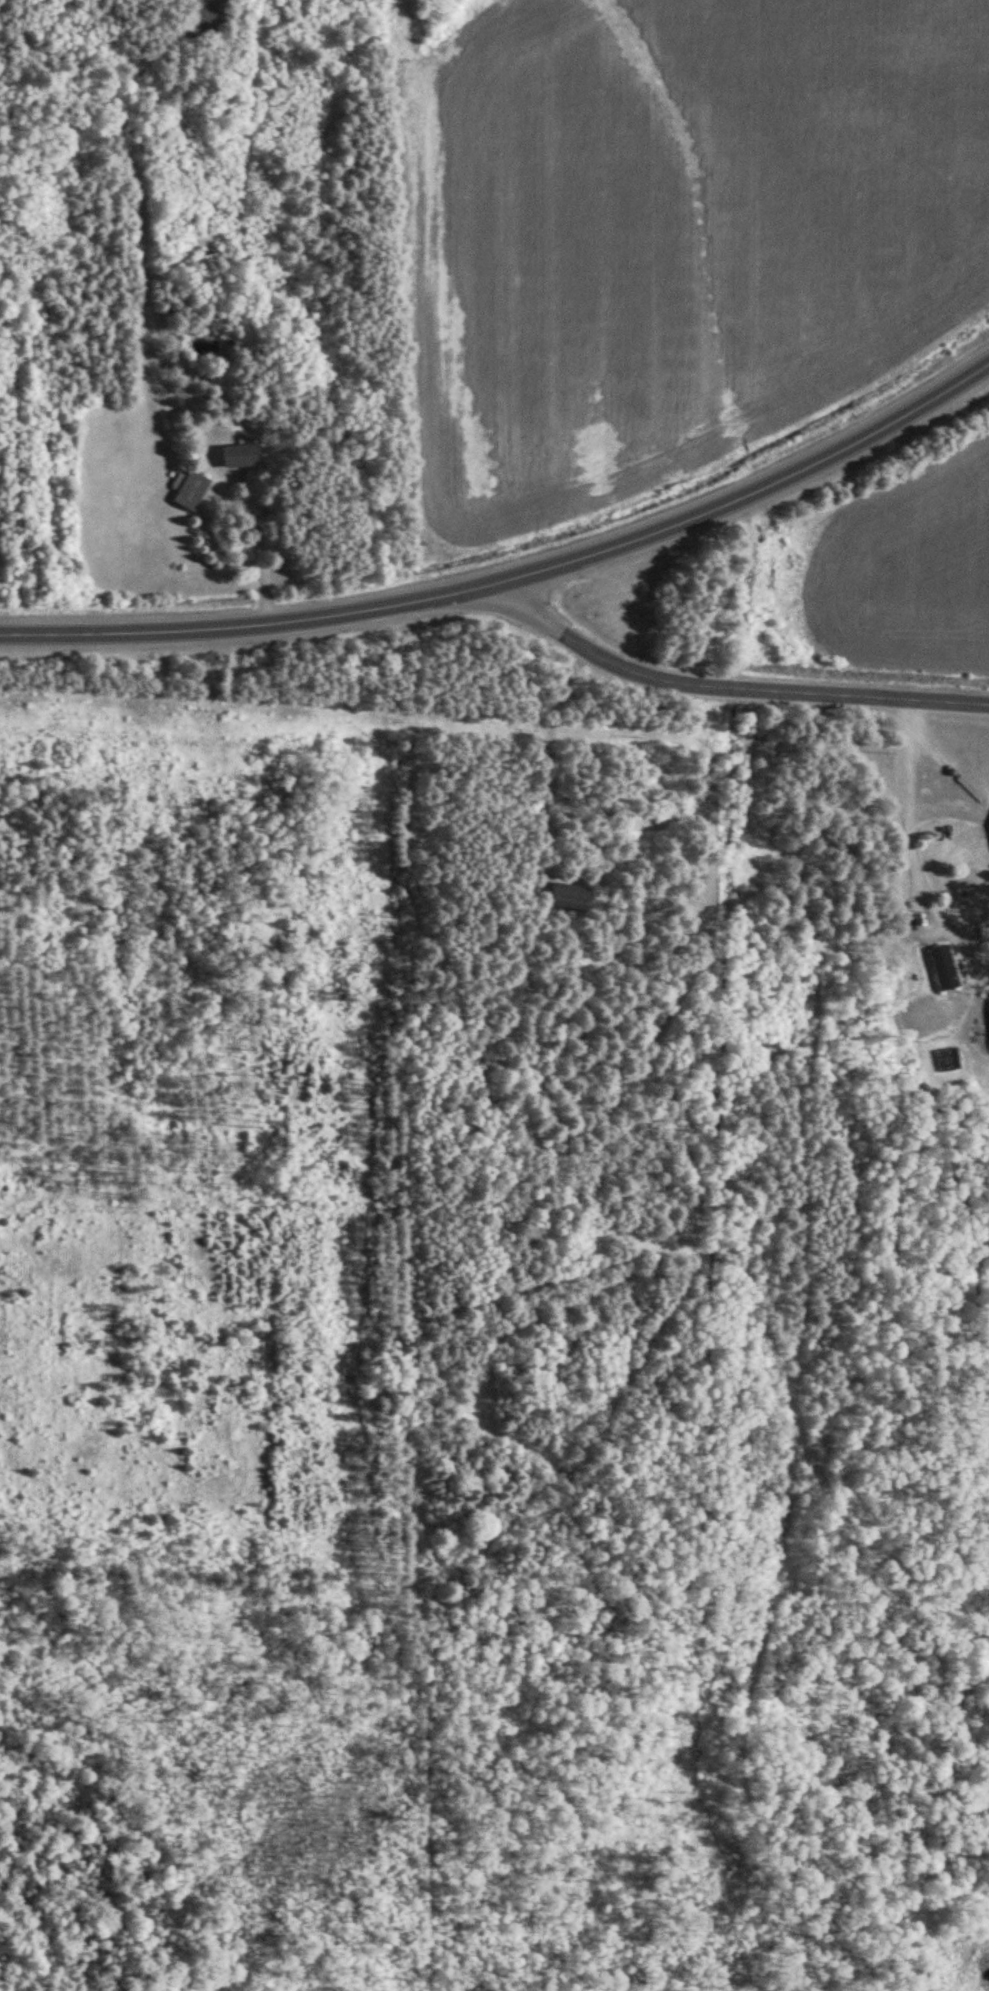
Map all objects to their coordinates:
building: (213, 259)
building: (239, 456)
building: (191, 491)
road: (516, 575)
road: (729, 686)
road: (918, 804)
building: (568, 895)
building: (945, 967)

